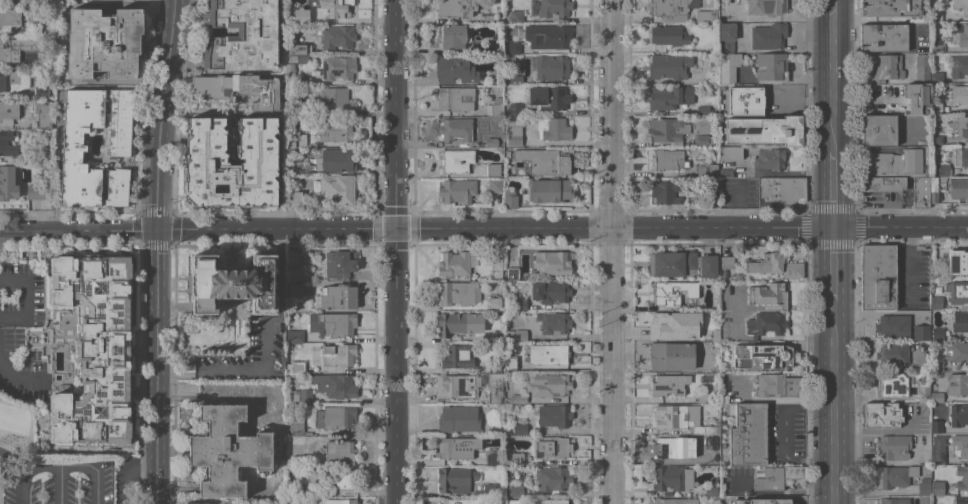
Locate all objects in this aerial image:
building: (67, 0)
building: (695, 0)
building: (961, 5)
building: (766, 6)
building: (456, 7)
building: (890, 7)
building: (337, 8)
building: (554, 8)
building: (669, 9)
building: (936, 14)
building: (299, 15)
building: (706, 15)
building: (517, 16)
building: (10, 17)
building: (488, 18)
building: (961, 33)
building: (243, 35)
building: (548, 35)
building: (338, 36)
building: (452, 36)
building: (668, 36)
building: (768, 36)
building: (917, 36)
building: (726, 37)
building: (883, 37)
building: (104, 42)
building: (936, 44)
building: (491, 45)
building: (512, 47)
building: (299, 48)
building: (6, 51)
building: (301, 58)
building: (959, 65)
building: (551, 66)
building: (669, 66)
building: (771, 66)
building: (338, 67)
building: (728, 67)
building: (885, 68)
building: (923, 68)
building: (455, 70)
building: (290, 72)
road: (834, 72)
building: (937, 77)
building: (516, 78)
building: (12, 80)
building: (303, 80)
building: (239, 91)
building: (41, 92)
building: (959, 94)
building: (549, 97)
building: (666, 97)
building: (917, 97)
building: (454, 98)
building: (334, 99)
building: (744, 100)
road: (806, 101)
building: (302, 107)
building: (495, 107)
building: (936, 107)
building: (515, 108)
building: (703, 109)
building: (9, 111)
building: (44, 113)
road: (159, 114)
building: (494, 122)
building: (963, 125)
building: (553, 128)
building: (457, 129)
building: (335, 130)
building: (668, 130)
building: (764, 130)
building: (879, 130)
building: (514, 133)
building: (938, 139)
building: (296, 140)
building: (490, 140)
building: (701, 140)
building: (7, 144)
building: (75, 146)
building: (507, 149)
building: (730, 153)
building: (962, 155)
building: (45, 156)
building: (767, 157)
building: (668, 159)
building: (334, 160)
building: (456, 160)
building: (546, 160)
building: (207, 162)
building: (896, 163)
building: (493, 169)
building: (708, 169)
building: (944, 169)
building: (725, 172)
building: (39, 177)
building: (8, 182)
building: (882, 183)
building: (494, 185)
road: (836, 187)
building: (338, 188)
building: (959, 188)
building: (933, 189)
building: (457, 190)
building: (550, 190)
building: (36, 191)
building: (666, 191)
building: (781, 192)
building: (920, 192)
building: (713, 197)
building: (295, 198)
building: (510, 198)
road: (561, 228)
road: (77, 229)
traffic signals: (155, 229)
traffic signals: (836, 230)
road: (395, 251)
road: (610, 252)
building: (939, 258)
building: (961, 260)
building: (727, 261)
building: (456, 262)
building: (552, 262)
building: (340, 263)
building: (671, 263)
building: (293, 264)
building: (776, 264)
road: (911, 265)
building: (708, 266)
building: (496, 268)
building: (512, 272)
road: (836, 272)
building: (878, 277)
building: (715, 282)
building: (233, 283)
building: (293, 287)
building: (550, 291)
building: (673, 291)
building: (957, 291)
building: (456, 292)
building: (334, 293)
building: (768, 294)
building: (936, 302)
building: (495, 304)
building: (520, 304)
building: (296, 305)
building: (960, 321)
building: (554, 322)
building: (456, 323)
building: (767, 323)
building: (333, 324)
building: (675, 324)
building: (893, 326)
road: (157, 330)
building: (921, 332)
building: (937, 333)
building: (716, 334)
building: (295, 335)
building: (521, 335)
building: (510, 336)
building: (90, 349)
road: (269, 350)
building: (959, 351)
building: (548, 353)
building: (892, 353)
building: (339, 355)
building: (458, 356)
building: (672, 356)
building: (761, 356)
building: (509, 362)
building: (495, 366)
building: (299, 367)
road: (17, 375)
building: (705, 378)
building: (957, 383)
building: (335, 384)
building: (548, 384)
building: (669, 384)
building: (457, 385)
building: (778, 385)
building: (904, 385)
building: (495, 387)
building: (303, 396)
building: (703, 397)
building: (937, 397)
building: (519, 398)
road: (835, 408)
building: (882, 414)
building: (958, 414)
building: (554, 415)
building: (336, 417)
building: (459, 418)
building: (682, 418)
building: (297, 425)
building: (936, 426)
building: (520, 429)
road: (782, 432)
building: (748, 434)
building: (960, 445)
building: (894, 446)
building: (457, 447)
building: (554, 447)
building: (672, 447)
building: (938, 449)
building: (229, 450)
building: (337, 451)
building: (707, 457)
road: (14, 458)
building: (490, 458)
building: (516, 458)
building: (716, 462)
road: (76, 464)
road: (43, 465)
park: (55, 466)
road: (156, 467)
road: (125, 473)
building: (512, 473)
building: (776, 476)
building: (894, 476)
building: (962, 477)
building: (672, 478)
building: (345, 479)
building: (455, 479)
building: (554, 479)
parking lot: (57, 482)
road: (21, 484)
road: (59, 484)
road: (96, 485)
building: (924, 486)
building: (937, 487)
building: (490, 489)
building: (514, 489)
building: (296, 490)
building: (711, 490)
building: (675, 500)
building: (961, 500)
building: (334, 501)
building: (461, 501)
building: (553, 501)
building: (760, 501)
building: (895, 501)

